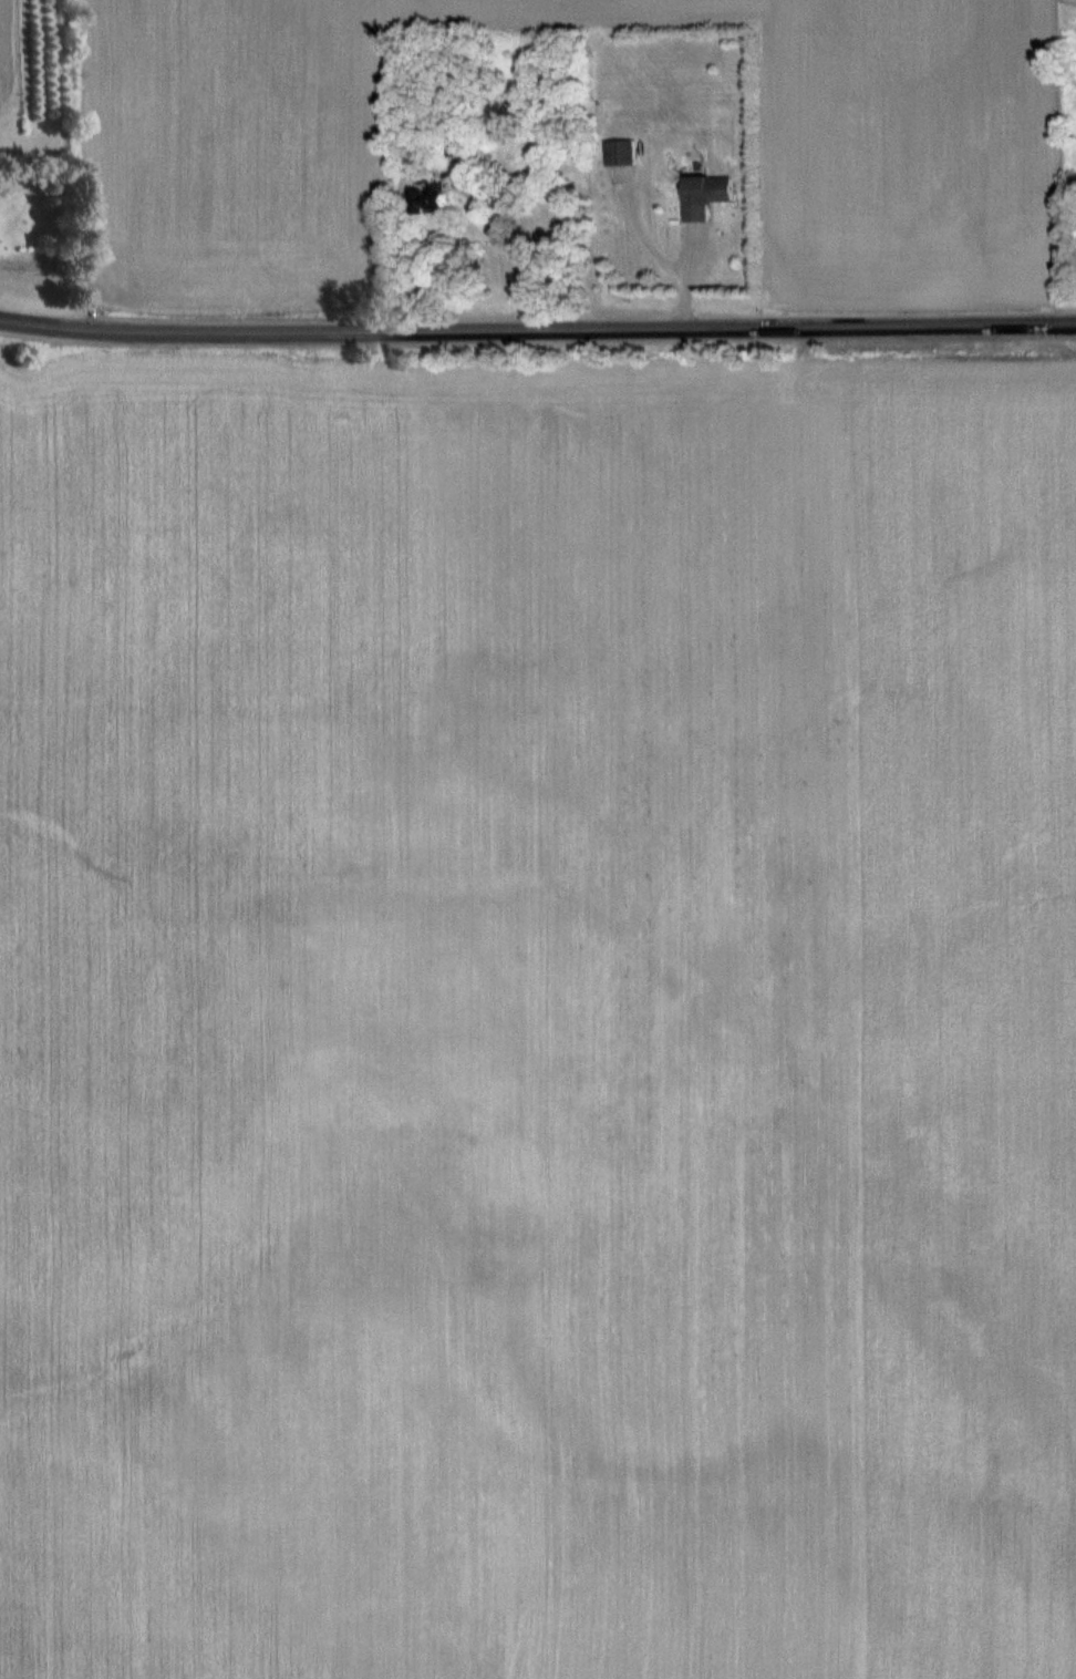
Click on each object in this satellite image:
building: (619, 153)
building: (702, 196)
building: (428, 199)
road: (537, 333)

